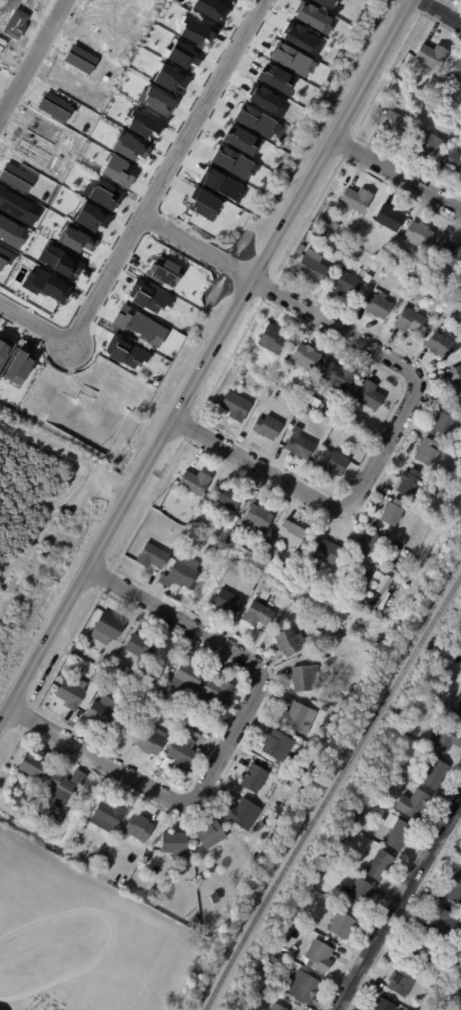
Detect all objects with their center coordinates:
building: (231, 0)
building: (340, 0)
building: (324, 2)
building: (214, 9)
road: (439, 12)
building: (311, 18)
building: (298, 37)
building: (431, 56)
road: (33, 58)
building: (290, 60)
building: (455, 71)
building: (169, 78)
building: (273, 78)
building: (264, 100)
building: (416, 100)
building: (460, 114)
building: (255, 122)
building: (394, 125)
building: (239, 140)
building: (427, 142)
building: (452, 161)
building: (232, 163)
road: (168, 170)
road: (397, 171)
building: (116, 172)
building: (220, 184)
building: (102, 194)
building: (355, 198)
building: (203, 203)
building: (90, 217)
building: (389, 217)
building: (327, 223)
building: (334, 224)
building: (418, 234)
building: (301, 248)
building: (450, 256)
building: (311, 267)
building: (361, 272)
building: (162, 273)
building: (460, 280)
building: (345, 284)
building: (456, 288)
building: (149, 298)
building: (458, 298)
building: (377, 306)
building: (455, 310)
road: (34, 317)
building: (409, 320)
building: (138, 325)
building: (272, 339)
building: (439, 345)
building: (4, 348)
building: (126, 352)
building: (306, 357)
road: (207, 364)
building: (17, 367)
building: (235, 369)
building: (336, 376)
building: (455, 379)
road: (415, 389)
building: (293, 391)
building: (369, 395)
building: (310, 399)
building: (234, 406)
building: (304, 408)
building: (444, 421)
building: (267, 427)
building: (300, 446)
building: (428, 452)
building: (332, 462)
building: (430, 479)
building: (194, 482)
building: (409, 483)
building: (439, 484)
building: (227, 497)
building: (392, 512)
building: (255, 519)
building: (288, 532)
building: (232, 534)
building: (367, 548)
building: (266, 549)
building: (325, 550)
building: (207, 552)
building: (151, 556)
building: (180, 573)
building: (363, 596)
building: (226, 602)
building: (258, 615)
building: (320, 624)
building: (106, 628)
building: (287, 642)
building: (140, 646)
building: (76, 649)
building: (111, 668)
building: (188, 674)
building: (99, 675)
building: (109, 678)
building: (305, 678)
building: (119, 684)
building: (216, 691)
building: (71, 693)
building: (320, 698)
building: (161, 701)
building: (102, 711)
building: (456, 711)
building: (297, 718)
building: (196, 733)
road: (230, 738)
building: (445, 739)
building: (150, 741)
building: (277, 746)
building: (181, 753)
building: (32, 766)
building: (297, 773)
building: (434, 775)
building: (253, 779)
building: (380, 784)
building: (59, 785)
railway: (332, 792)
building: (0, 794)
building: (20, 803)
building: (413, 805)
building: (275, 807)
building: (242, 814)
building: (107, 815)
building: (354, 819)
building: (138, 828)
building: (210, 835)
building: (397, 835)
building: (344, 841)
building: (174, 845)
building: (252, 850)
building: (99, 854)
building: (379, 866)
building: (107, 868)
road: (390, 891)
building: (455, 891)
building: (360, 892)
building: (152, 893)
road: (398, 904)
building: (160, 907)
building: (212, 918)
building: (302, 919)
building: (195, 920)
building: (443, 924)
building: (340, 928)
building: (141, 948)
building: (149, 951)
building: (426, 951)
building: (318, 956)
building: (458, 970)
building: (442, 975)
building: (401, 982)
building: (302, 988)
building: (55, 1000)
building: (79, 1005)
building: (382, 1005)
building: (276, 1007)
building: (458, 1009)

